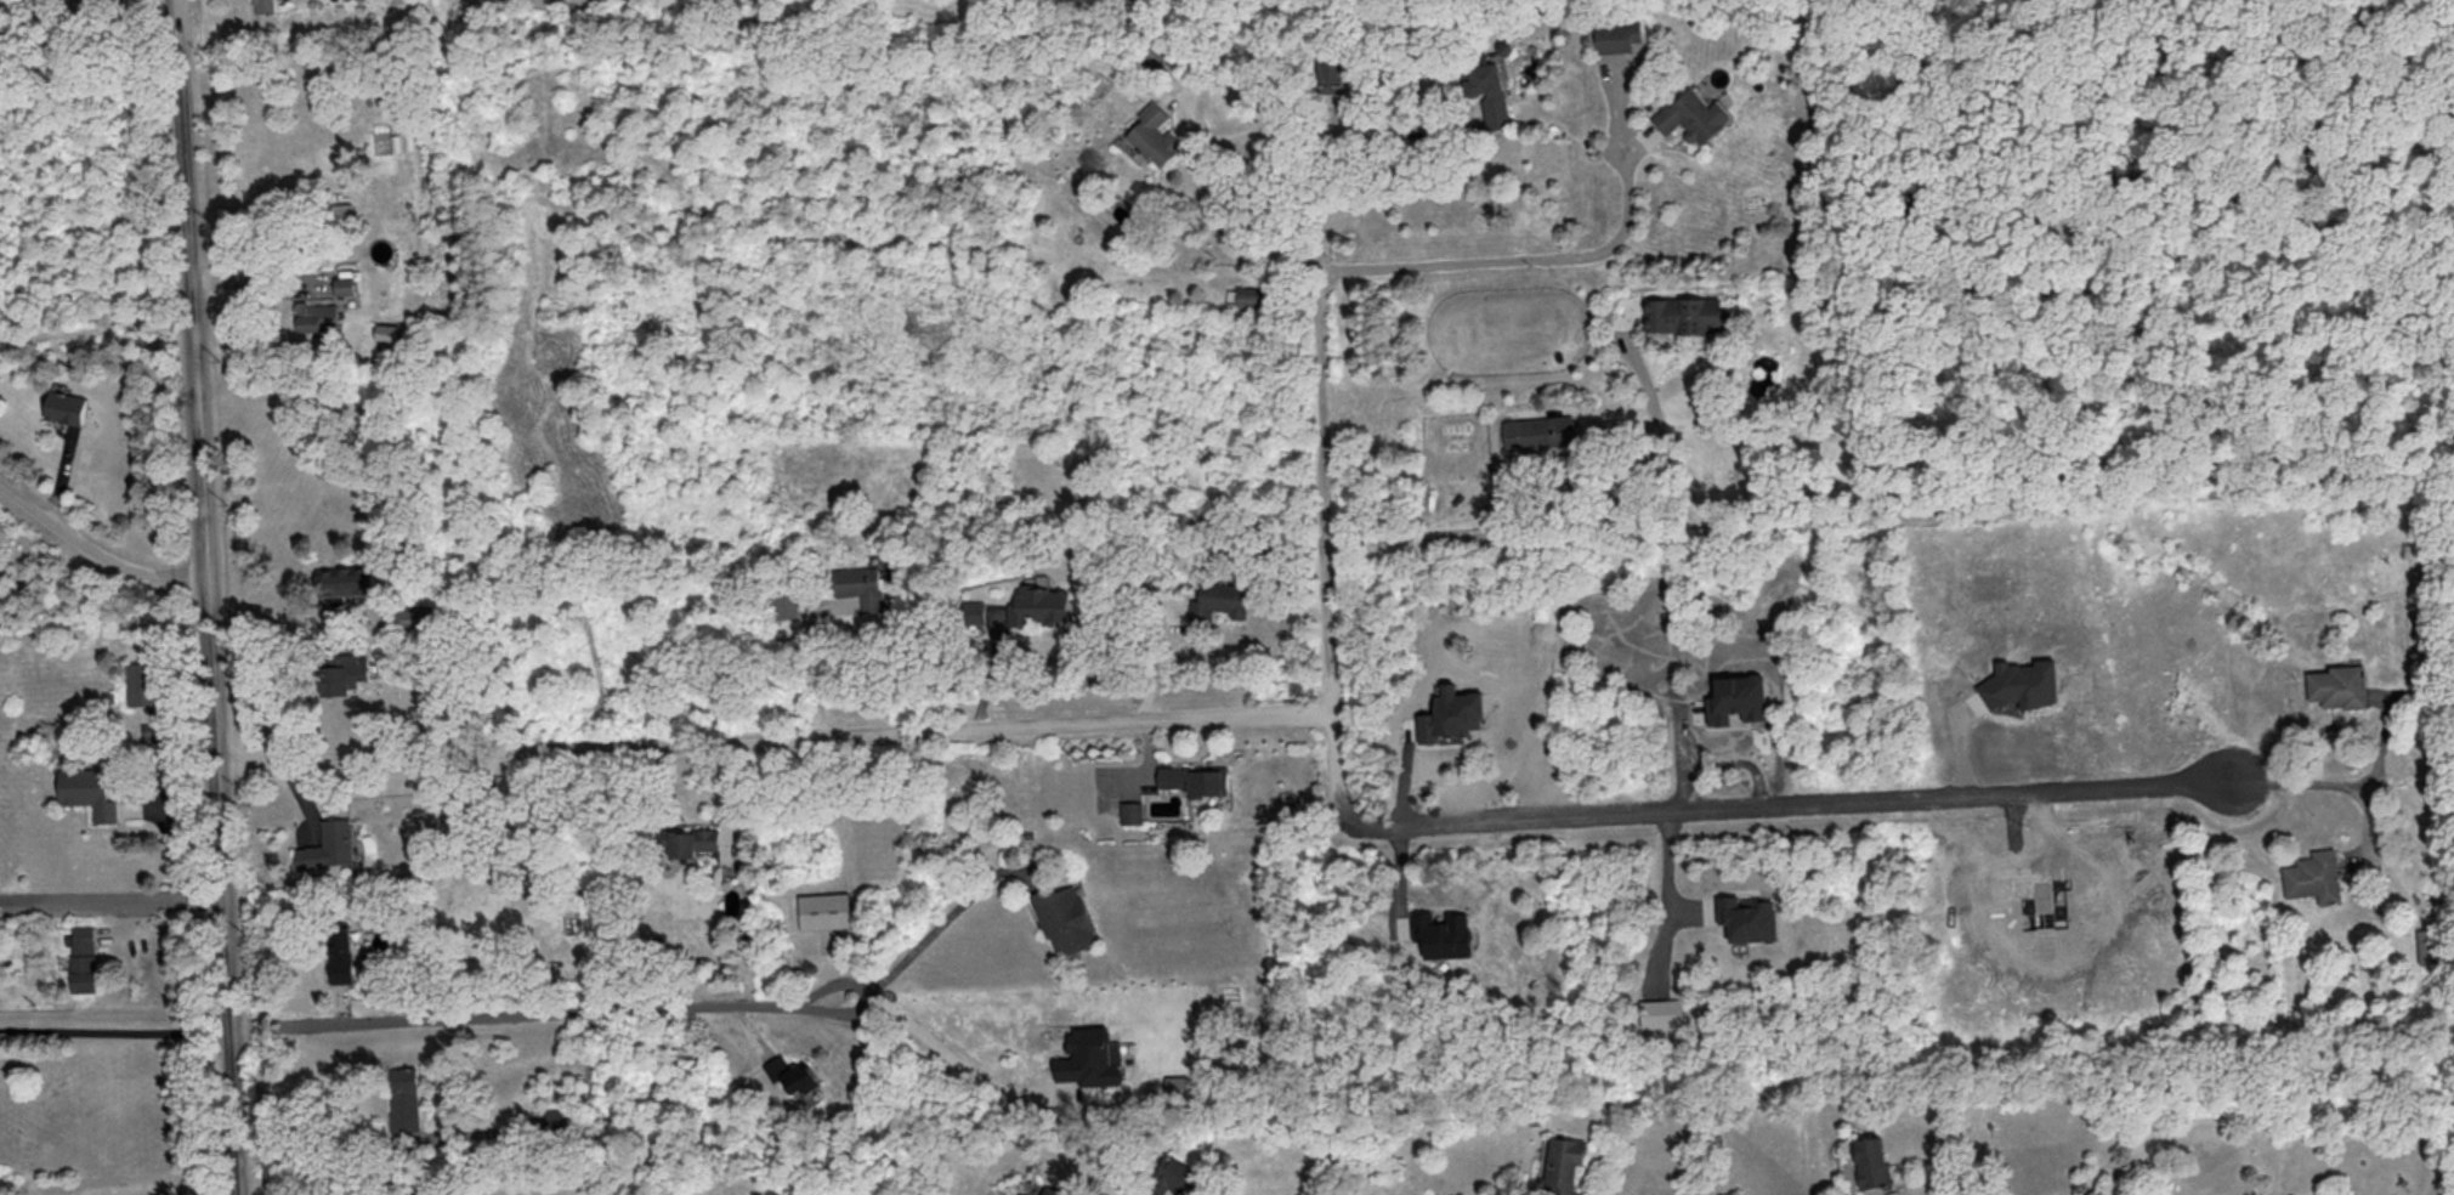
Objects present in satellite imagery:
building: (265, 5)
building: (1617, 35)
road: (174, 36)
building: (1328, 73)
road: (1262, 90)
building: (1489, 91)
building: (1693, 115)
building: (1154, 134)
road: (1392, 135)
building: (341, 210)
road: (1517, 260)
road: (254, 278)
building: (345, 284)
building: (1247, 295)
building: (1683, 313)
building: (317, 315)
building: (387, 330)
building: (66, 406)
building: (1538, 430)
road: (1580, 528)
road: (93, 548)
building: (345, 578)
building: (861, 584)
building: (1219, 600)
building: (1039, 601)
building: (784, 604)
building: (974, 611)
road: (210, 634)
road: (812, 668)
building: (342, 672)
building: (2021, 683)
building: (142, 685)
building: (2339, 685)
building: (1738, 698)
building: (1451, 713)
road: (776, 737)
road: (2382, 748)
building: (1196, 778)
road: (2288, 782)
building: (91, 788)
building: (1132, 811)
road: (1447, 829)
building: (688, 840)
building: (328, 845)
building: (2313, 876)
road: (112, 896)
road: (1664, 899)
building: (823, 910)
building: (1749, 917)
building: (1065, 918)
road: (929, 930)
building: (1443, 933)
building: (340, 952)
building: (84, 957)
road: (533, 1012)
building: (1661, 1012)
road: (114, 1030)
road: (937, 1040)
building: (1088, 1058)
building: (792, 1074)
building: (404, 1099)
building: (560, 1118)
road: (318, 1150)
building: (1871, 1161)
building: (1562, 1163)
building: (1177, 1176)
road: (186, 1190)

